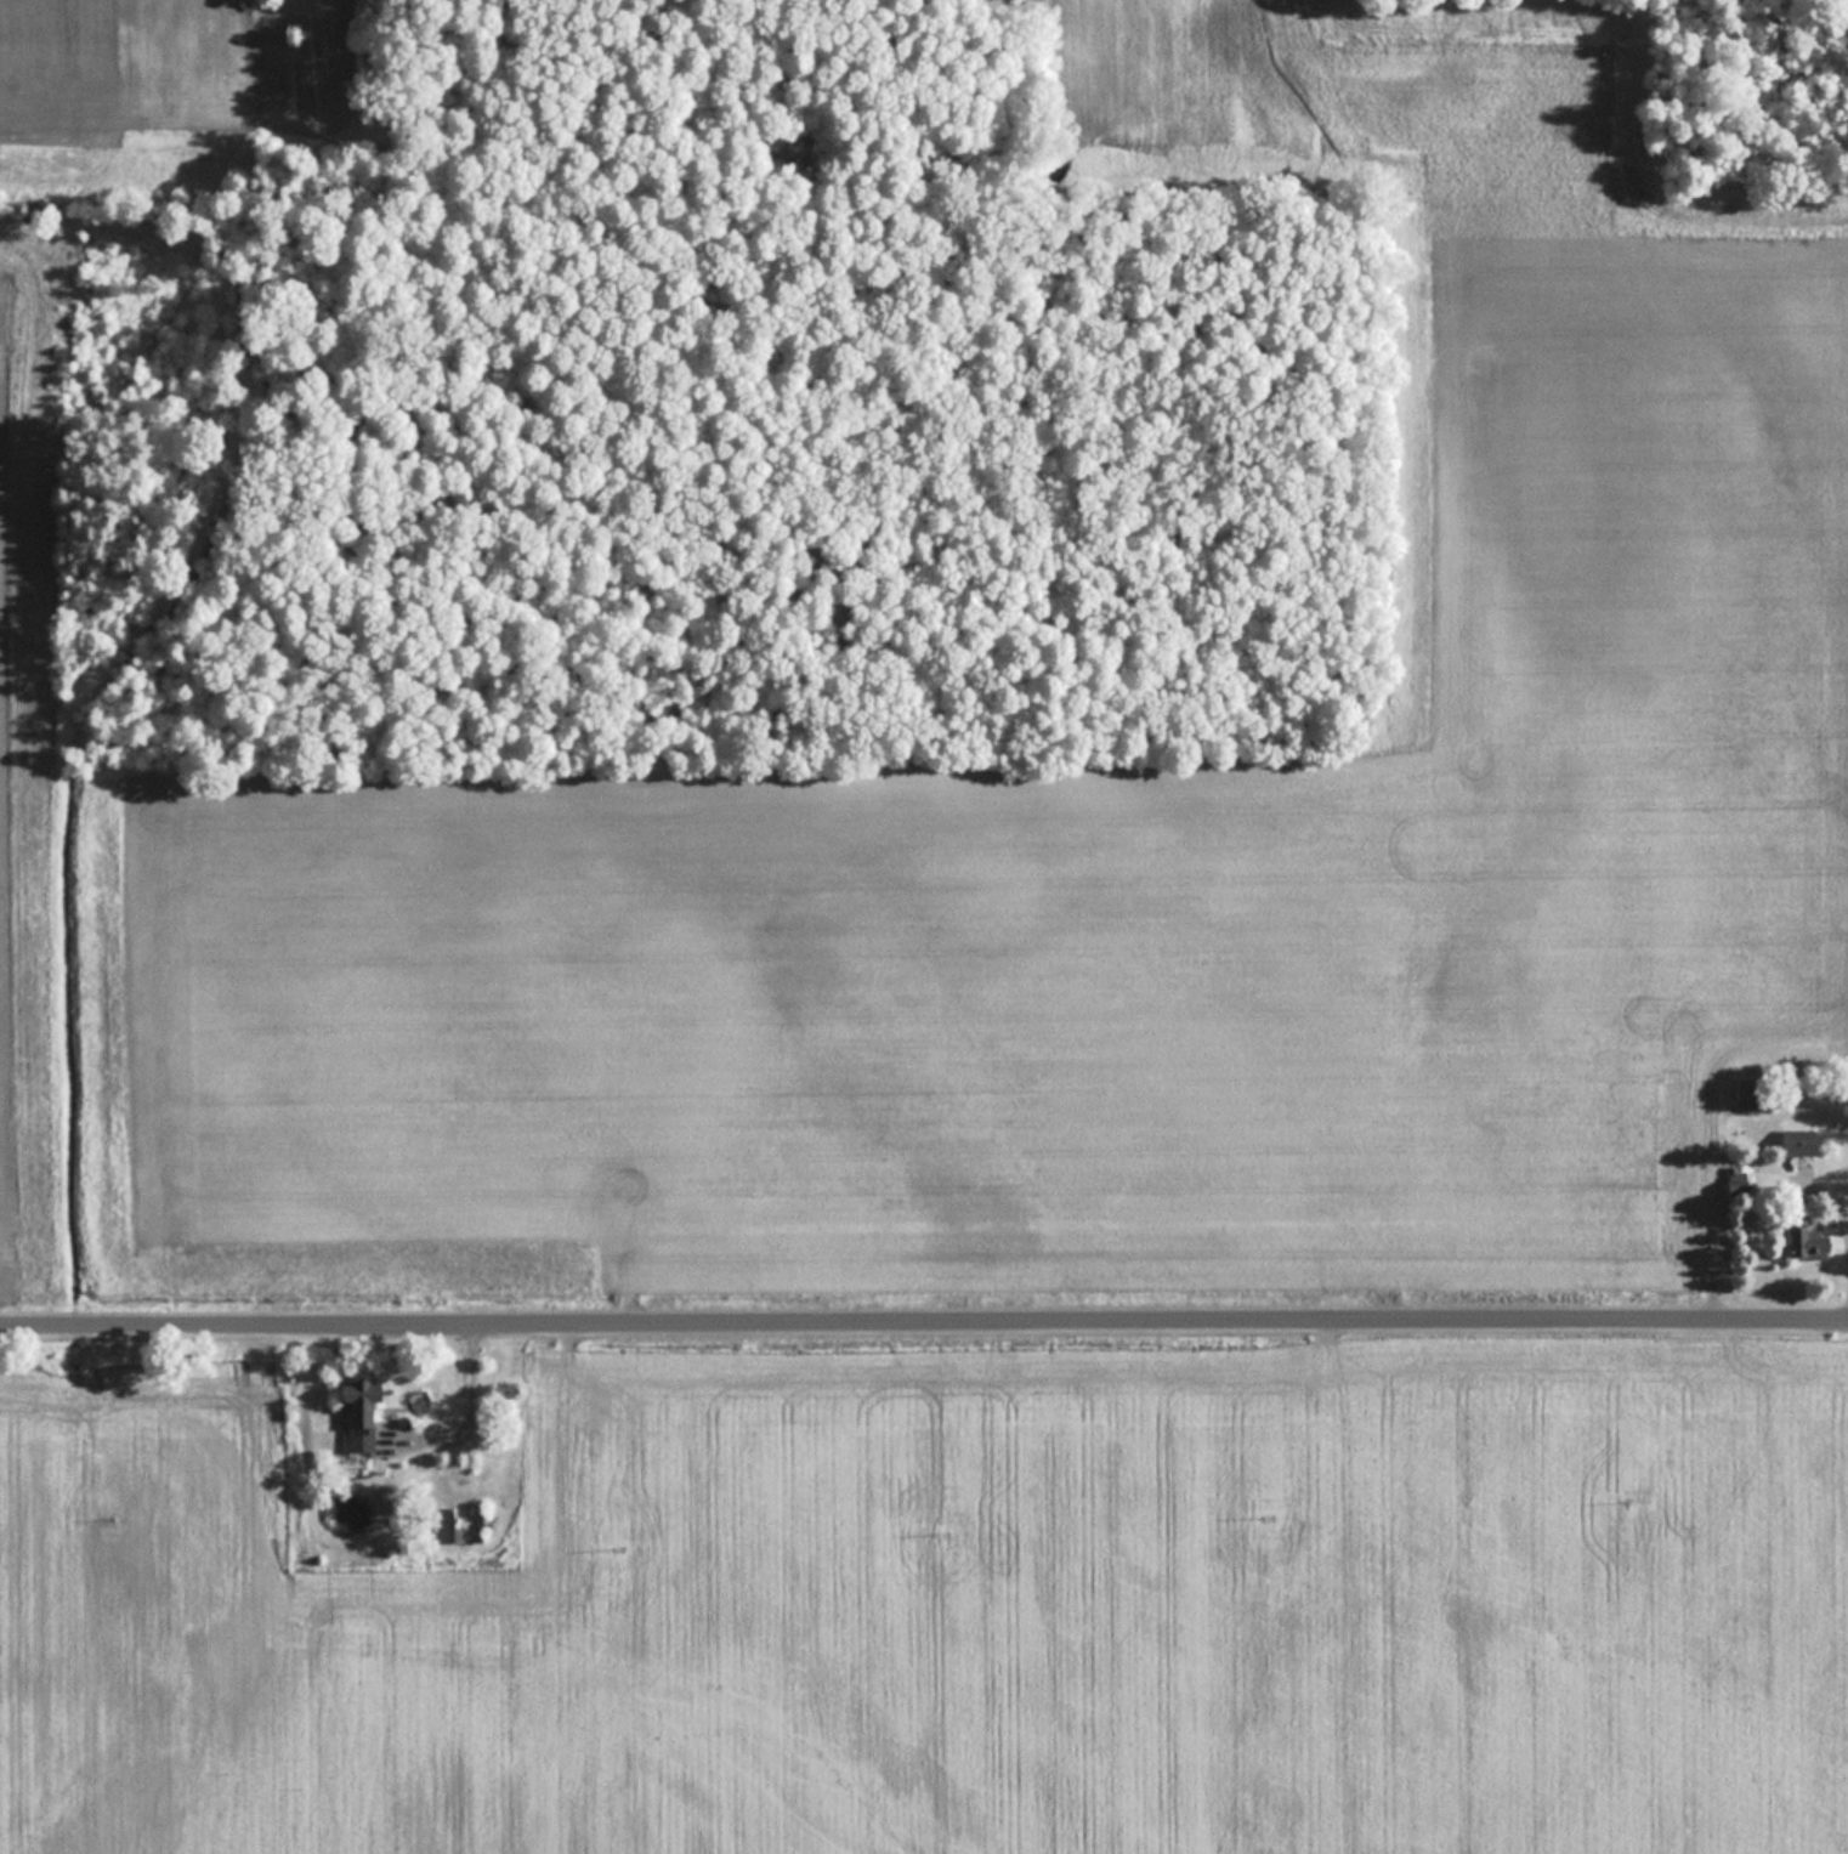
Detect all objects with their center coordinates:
building: (1801, 1140)
building: (1809, 1243)
road: (924, 1327)
building: (363, 1400)

